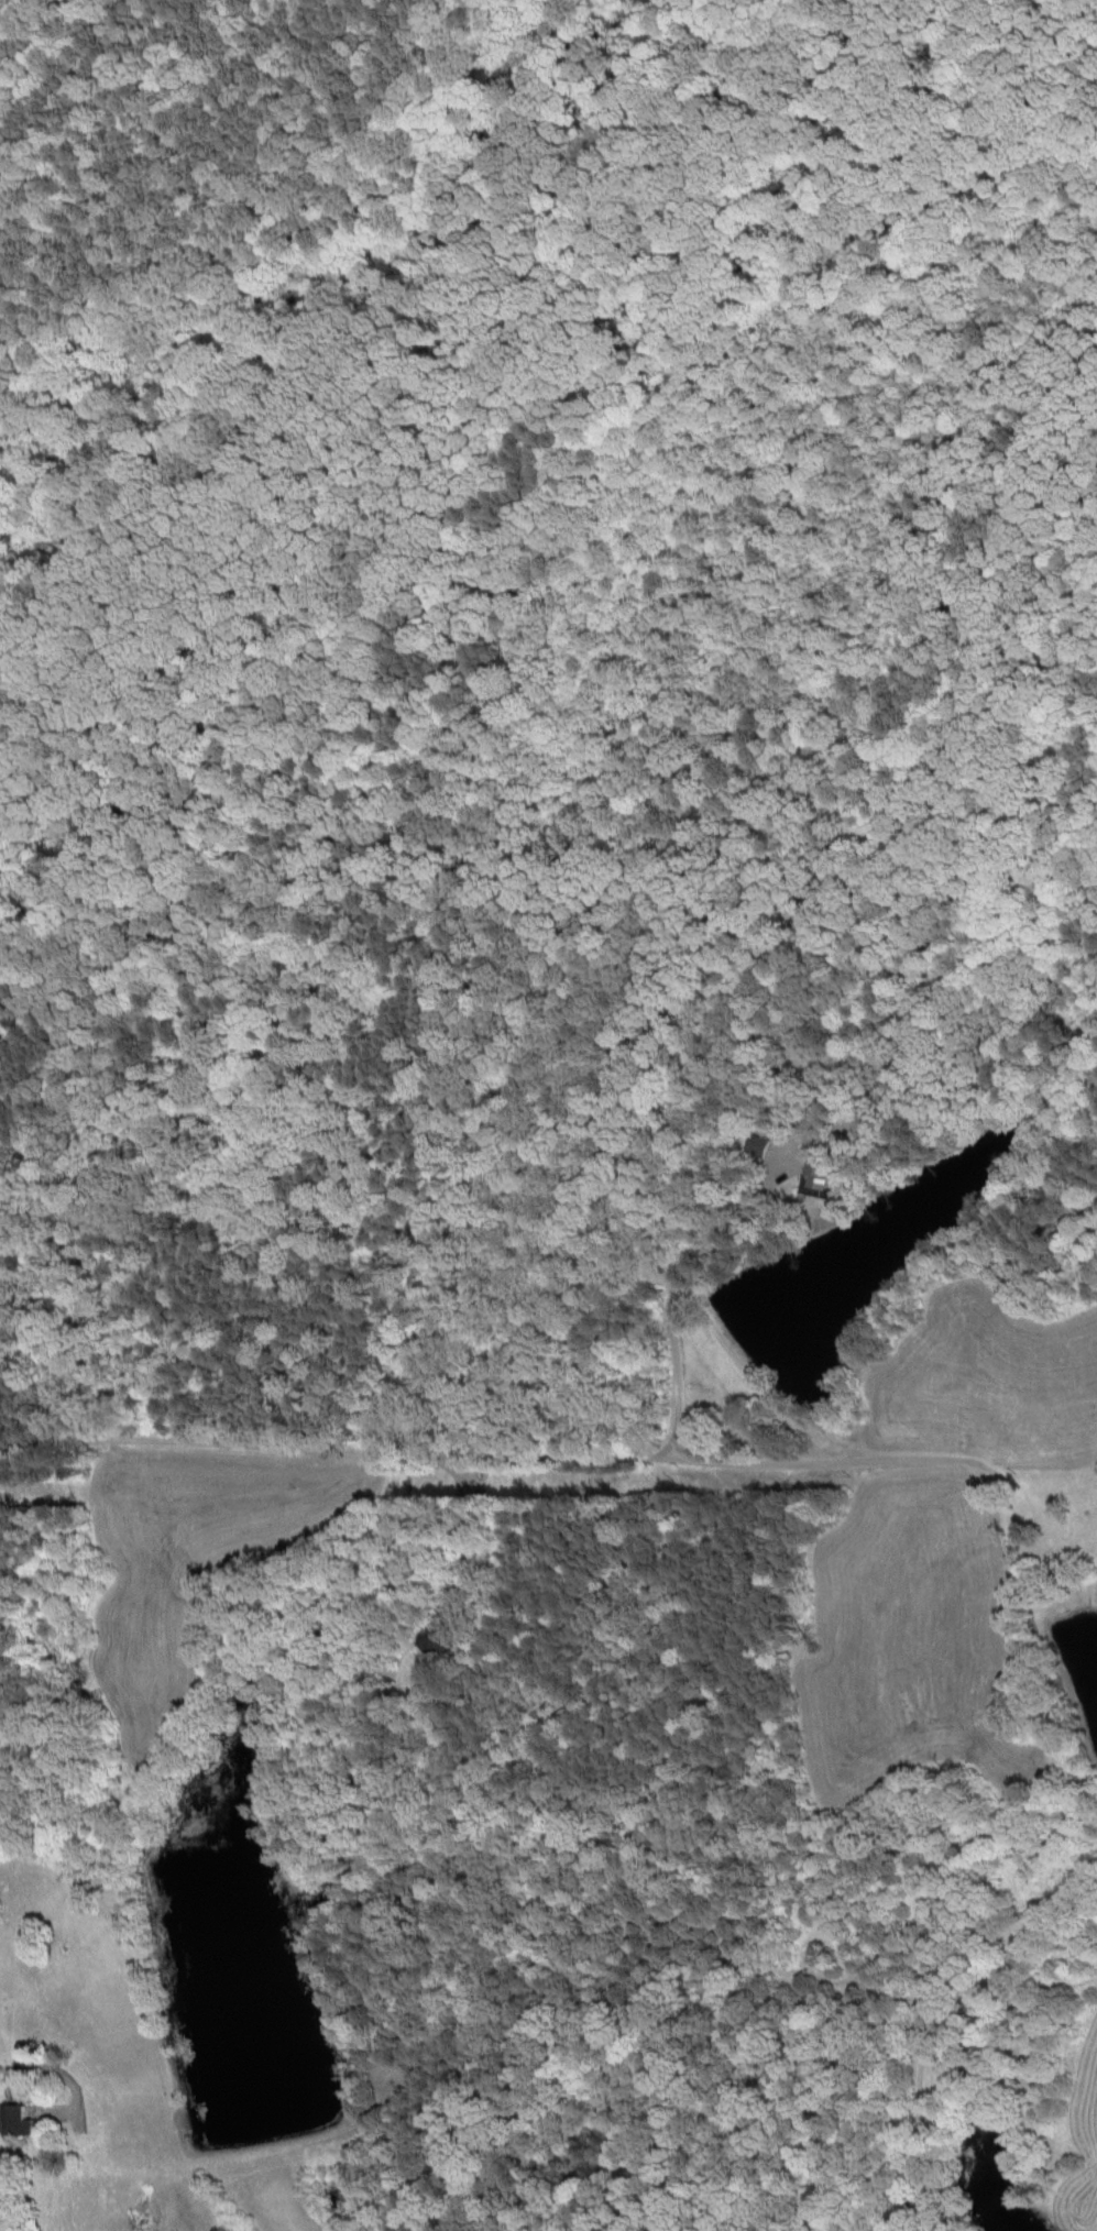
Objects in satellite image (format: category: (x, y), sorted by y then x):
building: (12, 2118)

